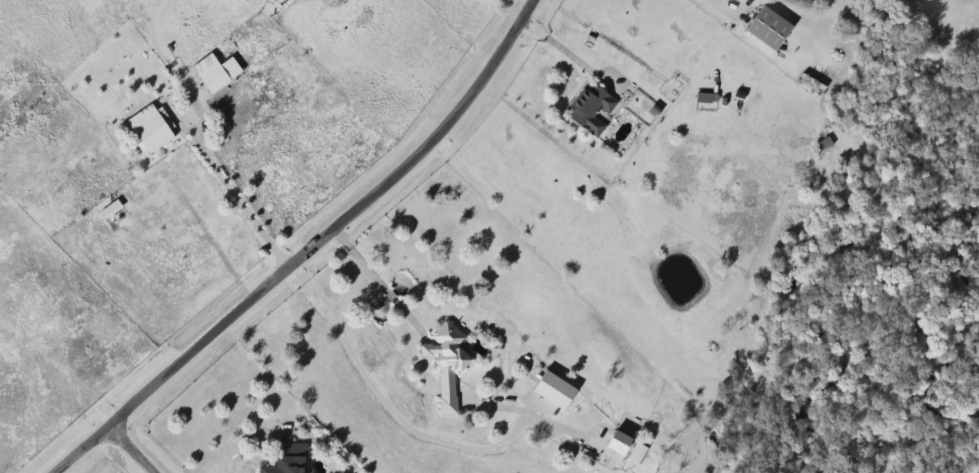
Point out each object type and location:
road: (706, 5)
building: (766, 29)
road: (569, 56)
building: (219, 76)
building: (705, 99)
building: (590, 110)
building: (148, 130)
road: (237, 196)
building: (110, 210)
road: (335, 226)
road: (373, 280)
road: (345, 294)
building: (446, 364)
road: (377, 399)
building: (616, 445)
road: (80, 449)
road: (130, 449)
building: (636, 454)
building: (282, 466)

